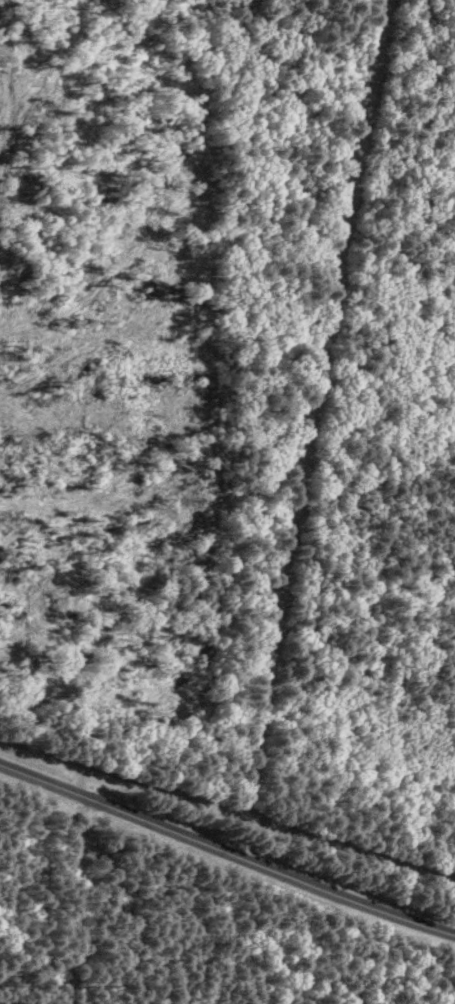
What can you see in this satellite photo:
road: (156, 432)
road: (226, 854)

